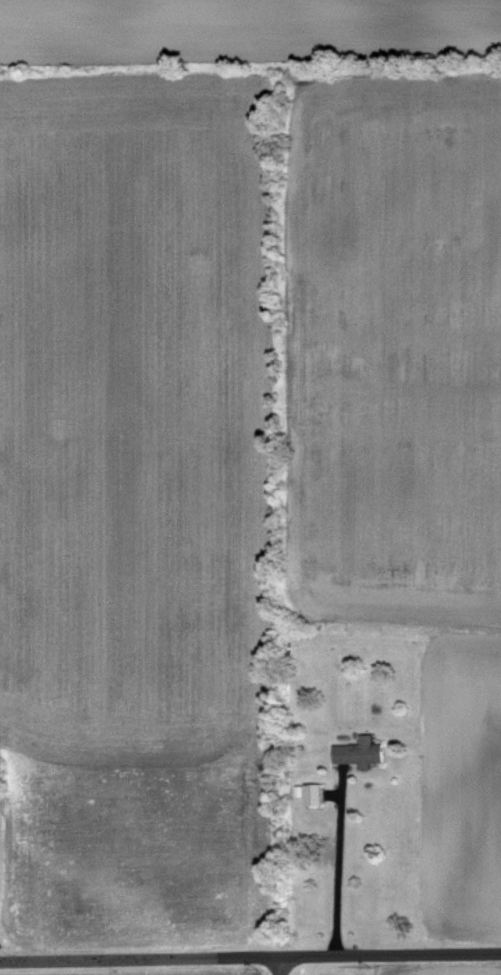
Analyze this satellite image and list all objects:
building: (363, 753)
building: (317, 795)
road: (340, 861)
road: (250, 956)
road: (281, 965)

